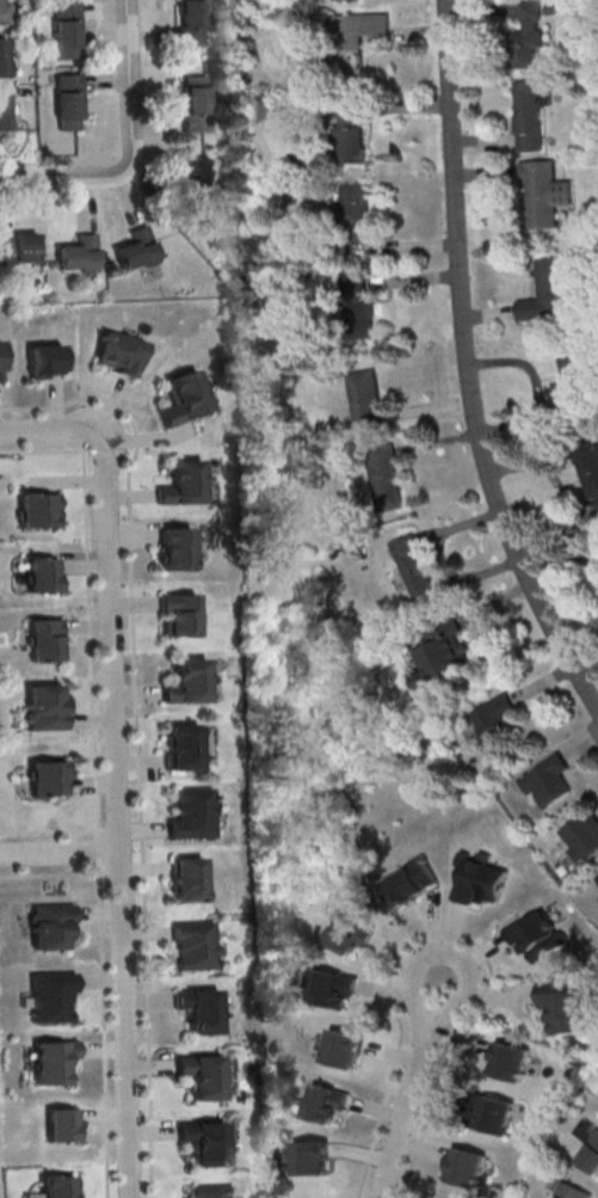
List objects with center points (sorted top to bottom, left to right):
building: (5, 12)
building: (192, 21)
building: (68, 29)
building: (529, 36)
building: (356, 37)
building: (5, 56)
building: (70, 100)
building: (196, 102)
building: (5, 110)
building: (530, 112)
building: (350, 135)
road: (135, 153)
building: (196, 173)
building: (544, 192)
building: (356, 210)
building: (19, 247)
building: (138, 250)
building: (80, 254)
building: (547, 293)
building: (357, 306)
building: (122, 352)
building: (45, 360)
building: (0, 362)
road: (470, 362)
building: (574, 375)
building: (366, 394)
building: (185, 398)
road: (50, 451)
building: (588, 467)
building: (386, 477)
building: (184, 483)
building: (37, 509)
building: (177, 547)
building: (413, 565)
building: (42, 575)
building: (180, 613)
road: (90, 634)
building: (45, 638)
building: (442, 652)
building: (189, 682)
building: (45, 707)
building: (494, 718)
road: (138, 735)
building: (184, 747)
road: (116, 768)
building: (48, 776)
building: (548, 780)
building: (193, 813)
road: (111, 827)
road: (51, 830)
building: (582, 834)
road: (58, 849)
road: (98, 850)
road: (112, 872)
road: (53, 873)
building: (477, 877)
building: (189, 879)
building: (411, 880)
building: (49, 924)
road: (449, 930)
building: (350, 932)
building: (536, 934)
building: (193, 944)
road: (463, 960)
building: (331, 988)
building: (50, 995)
building: (565, 1007)
building: (199, 1009)
road: (104, 1031)
building: (343, 1048)
building: (53, 1061)
building: (510, 1061)
building: (202, 1075)
building: (326, 1101)
road: (406, 1105)
building: (494, 1113)
building: (62, 1124)
building: (206, 1142)
building: (588, 1143)
building: (310, 1156)
building: (468, 1166)
building: (57, 1186)
building: (212, 1191)
building: (573, 1191)

